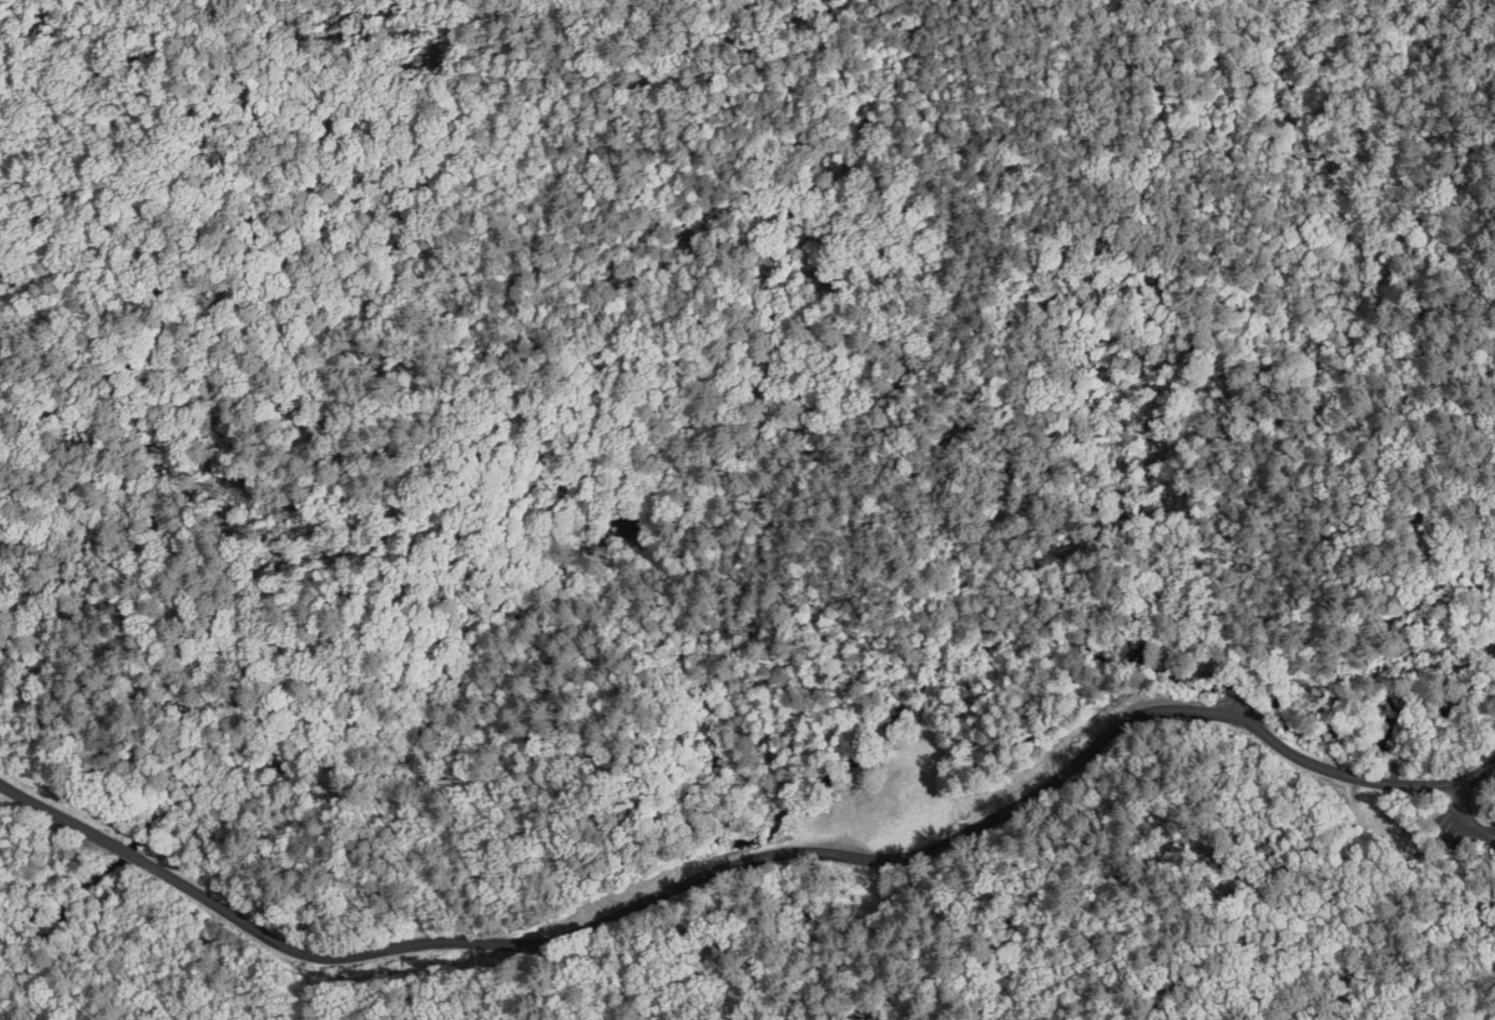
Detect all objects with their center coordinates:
road: (1476, 774)
road: (59, 812)
road: (1465, 816)
parking lot: (1489, 837)
road: (129, 850)
road: (806, 850)
road: (1458, 1011)
road: (1200, 1019)

